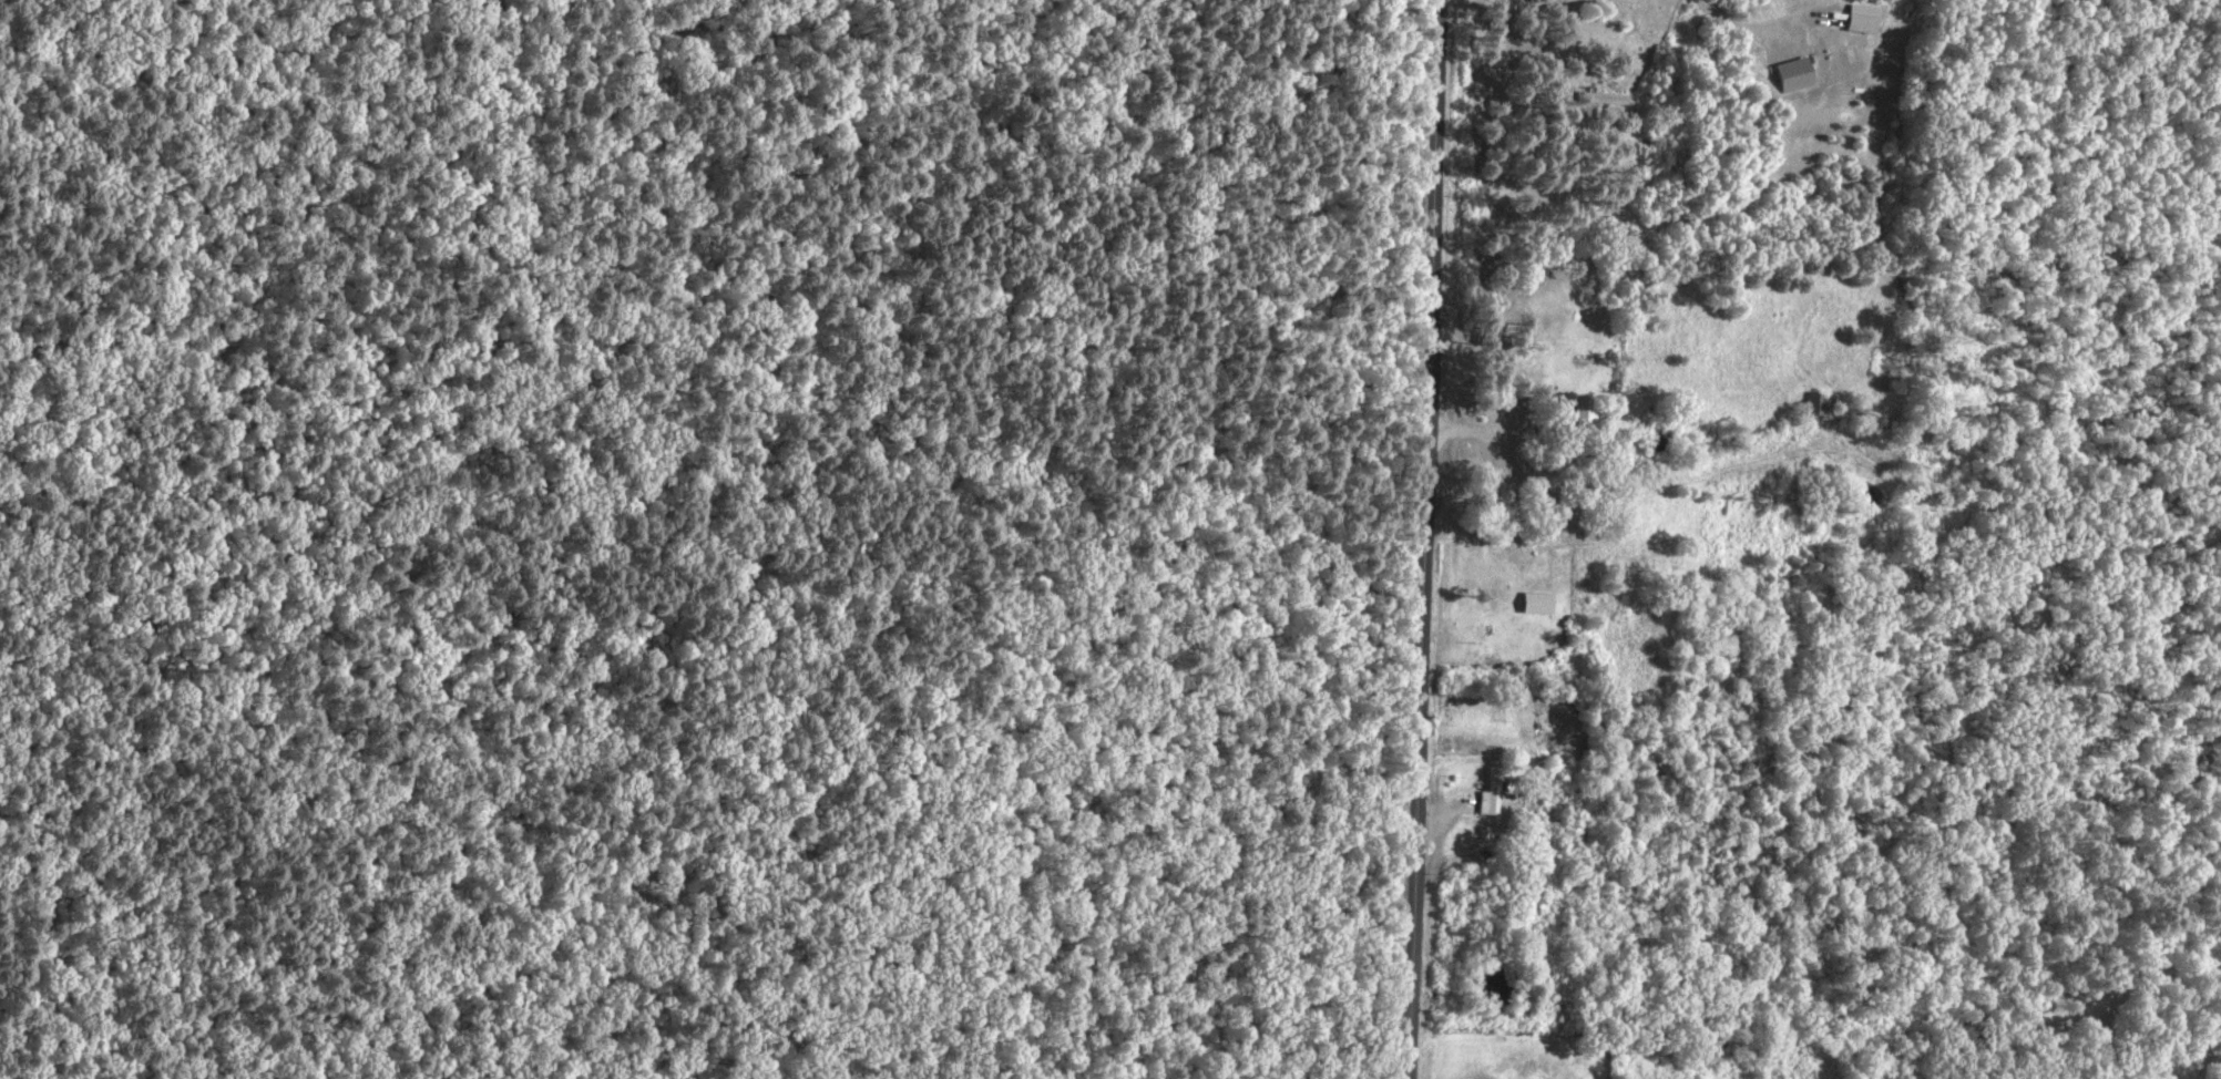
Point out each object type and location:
building: (1548, 1)
building: (1614, 102)
building: (1822, 405)
building: (1583, 518)
road: (1424, 539)
building: (1495, 604)
building: (1492, 795)

